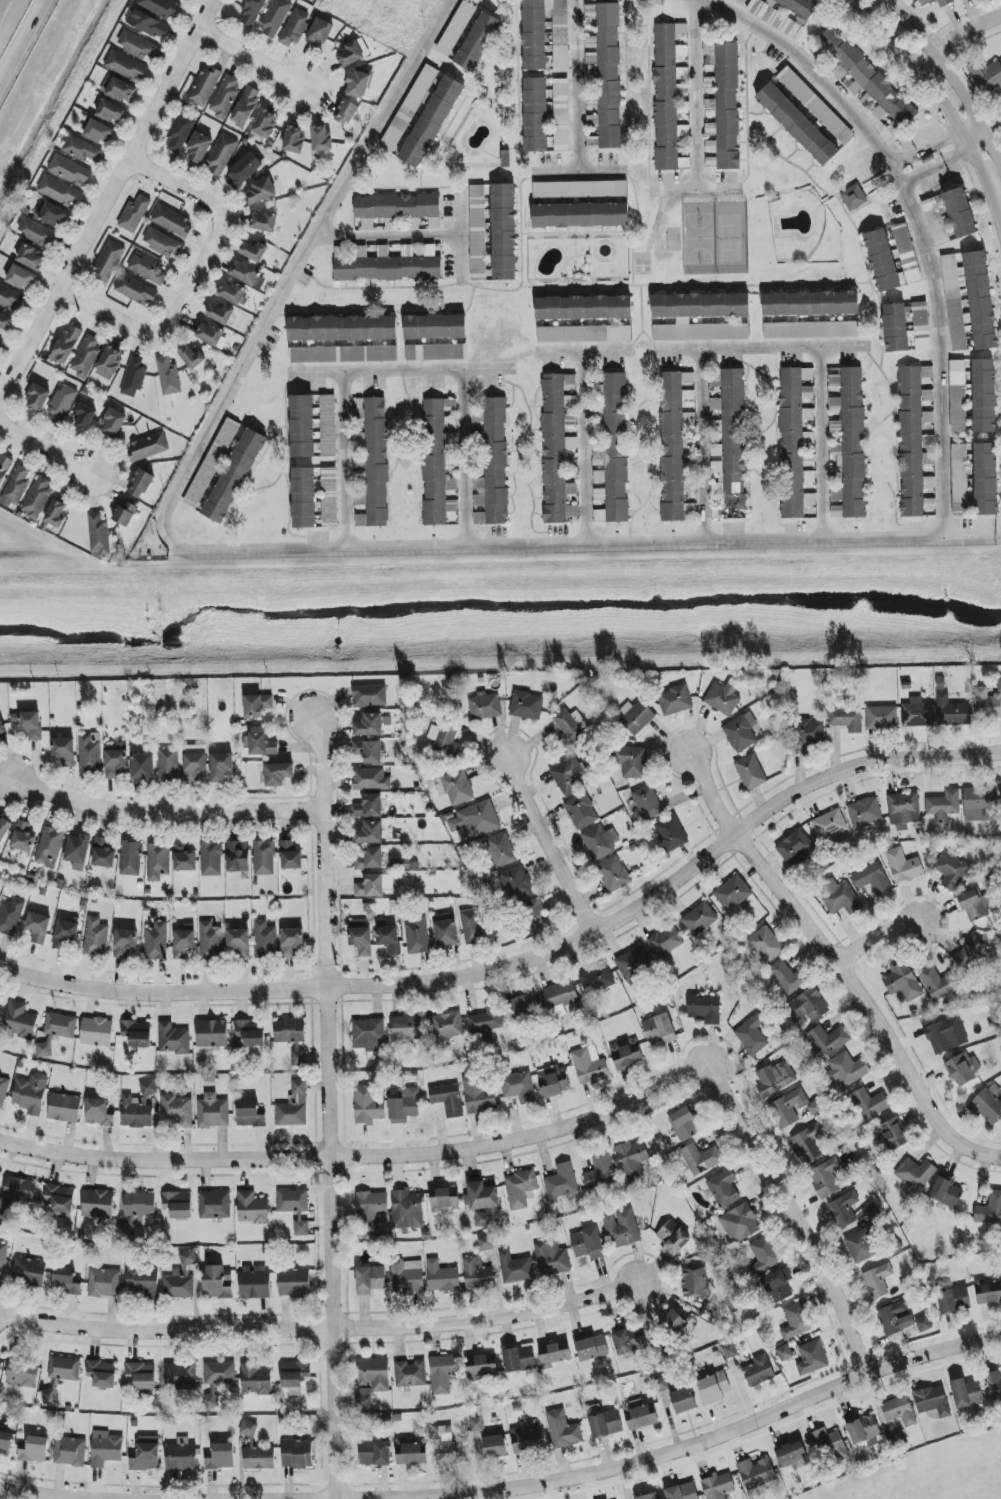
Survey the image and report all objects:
building: (923, 5)
building: (161, 8)
building: (252, 12)
building: (769, 16)
building: (275, 17)
road: (9, 18)
building: (148, 24)
building: (294, 28)
building: (456, 29)
building: (319, 33)
building: (559, 33)
building: (534, 35)
road: (955, 37)
road: (22, 41)
building: (477, 41)
building: (137, 46)
building: (352, 53)
road: (251, 59)
building: (125, 67)
building: (682, 74)
building: (608, 76)
building: (986, 76)
road: (951, 77)
building: (868, 78)
building: (358, 84)
building: (204, 86)
road: (574, 87)
building: (120, 91)
building: (666, 94)
road: (693, 94)
building: (224, 97)
building: (867, 101)
building: (727, 106)
building: (816, 106)
building: (245, 107)
building: (682, 107)
road: (944, 108)
building: (111, 111)
building: (346, 113)
building: (535, 115)
building: (561, 115)
building: (421, 117)
building: (264, 124)
building: (797, 124)
building: (710, 129)
building: (98, 132)
building: (179, 133)
road: (971, 134)
building: (321, 139)
building: (294, 140)
building: (592, 142)
road: (937, 142)
building: (82, 149)
building: (198, 149)
road: (954, 153)
building: (221, 155)
building: (711, 155)
road: (902, 158)
building: (70, 171)
road: (920, 172)
building: (240, 173)
road: (575, 174)
building: (580, 189)
road: (698, 190)
building: (59, 192)
building: (260, 192)
building: (854, 198)
road: (106, 201)
road: (204, 202)
building: (397, 209)
building: (960, 213)
building: (54, 215)
building: (134, 215)
building: (580, 215)
building: (935, 220)
building: (172, 221)
building: (263, 221)
road: (915, 223)
building: (390, 224)
building: (477, 231)
building: (504, 232)
building: (37, 233)
road: (458, 236)
road: (385, 237)
building: (162, 243)
building: (253, 252)
building: (906, 254)
building: (31, 257)
building: (882, 260)
building: (108, 261)
building: (385, 264)
building: (148, 269)
building: (245, 272)
building: (21, 277)
building: (135, 291)
building: (232, 292)
building: (11, 299)
building: (969, 300)
building: (810, 303)
building: (584, 308)
building: (220, 314)
building: (700, 316)
building: (5, 322)
building: (921, 326)
building: (435, 327)
building: (896, 327)
building: (342, 328)
building: (810, 330)
road: (135, 331)
building: (210, 334)
building: (584, 334)
building: (1, 340)
building: (66, 345)
road: (753, 348)
road: (582, 349)
building: (434, 352)
building: (343, 354)
building: (86, 356)
building: (191, 357)
building: (110, 360)
road: (399, 370)
building: (926, 372)
building: (133, 377)
building: (168, 377)
building: (834, 381)
building: (808, 392)
building: (957, 396)
building: (984, 396)
building: (37, 398)
building: (834, 403)
building: (61, 405)
building: (450, 405)
building: (84, 418)
building: (113, 423)
building: (328, 425)
building: (302, 426)
building: (730, 440)
building: (673, 443)
building: (793, 443)
building: (853, 443)
road: (820, 444)
road: (700, 446)
building: (912, 446)
building: (147, 447)
road: (46, 448)
road: (582, 448)
building: (557, 450)
building: (614, 453)
road: (464, 459)
road: (342, 461)
building: (434, 462)
building: (211, 463)
building: (371, 463)
building: (492, 463)
building: (4, 468)
building: (234, 476)
building: (959, 478)
building: (985, 479)
building: (141, 484)
building: (451, 484)
building: (16, 487)
building: (329, 497)
building: (37, 498)
building: (303, 498)
building: (836, 503)
building: (452, 506)
building: (125, 513)
building: (56, 514)
building: (726, 514)
building: (98, 536)
road: (998, 537)
road: (270, 552)
building: (999, 685)
building: (369, 696)
building: (722, 700)
building: (675, 701)
building: (986, 704)
building: (257, 705)
building: (484, 706)
building: (526, 706)
building: (951, 712)
building: (916, 714)
building: (636, 717)
building: (846, 717)
building: (881, 718)
building: (31, 725)
building: (369, 725)
building: (570, 726)
building: (2, 727)
building: (808, 732)
building: (739, 734)
building: (445, 737)
building: (262, 743)
building: (64, 751)
building: (368, 751)
building: (90, 754)
building: (631, 761)
building: (115, 762)
building: (194, 762)
building: (168, 766)
building: (221, 767)
building: (143, 768)
building: (750, 772)
building: (278, 774)
building: (568, 776)
building: (370, 780)
building: (455, 788)
building: (648, 803)
building: (980, 805)
building: (943, 806)
building: (369, 807)
building: (903, 810)
road: (162, 811)
building: (581, 811)
building: (864, 812)
building: (478, 820)
building: (829, 825)
building: (4, 829)
building: (370, 833)
building: (670, 834)
building: (23, 837)
building: (599, 841)
road: (549, 842)
building: (49, 847)
building: (795, 847)
building: (77, 849)
building: (500, 850)
building: (103, 854)
building: (238, 857)
building: (290, 857)
building: (184, 858)
building: (264, 858)
building: (131, 859)
building: (211, 859)
building: (370, 860)
building: (158, 861)
building: (403, 865)
building: (903, 866)
building: (951, 871)
building: (613, 874)
building: (872, 879)
building: (516, 883)
building: (374, 886)
building: (732, 893)
building: (840, 897)
building: (972, 905)
building: (534, 915)
building: (11, 916)
building: (700, 919)
building: (472, 926)
building: (38, 928)
building: (445, 931)
building: (66, 935)
building: (417, 936)
building: (360, 937)
road: (875, 937)
building: (95, 938)
building: (389, 939)
building: (210, 940)
building: (265, 940)
building: (291, 941)
building: (156, 942)
building: (184, 942)
building: (239, 942)
building: (665, 942)
building: (124, 943)
road: (818, 944)
building: (765, 945)
building: (969, 957)
building: (632, 962)
road: (526, 963)
building: (784, 977)
building: (597, 980)
building: (902, 982)
building: (939, 984)
building: (0, 998)
building: (559, 999)
building: (806, 1007)
building: (705, 1008)
building: (523, 1009)
building: (19, 1021)
building: (485, 1023)
building: (446, 1026)
building: (406, 1028)
building: (659, 1029)
building: (56, 1032)
building: (96, 1032)
building: (137, 1034)
building: (212, 1034)
building: (249, 1035)
building: (368, 1035)
building: (946, 1035)
building: (752, 1036)
building: (292, 1038)
building: (173, 1039)
building: (828, 1040)
building: (626, 1055)
building: (589, 1065)
building: (962, 1068)
building: (846, 1069)
building: (775, 1079)
building: (553, 1082)
building: (518, 1087)
building: (3, 1090)
building: (30, 1094)
building: (478, 1096)
building: (448, 1099)
building: (870, 1103)
building: (294, 1106)
building: (368, 1106)
building: (404, 1106)
building: (986, 1106)
road: (327, 1107)
building: (64, 1108)
building: (138, 1108)
building: (788, 1108)
building: (177, 1110)
building: (212, 1112)
building: (98, 1113)
building: (249, 1115)
building: (684, 1124)
building: (892, 1134)
building: (808, 1144)
road: (974, 1151)
road: (329, 1158)
building: (701, 1159)
building: (632, 1160)
building: (600, 1171)
building: (915, 1174)
building: (825, 1178)
building: (561, 1182)
road: (779, 1188)
building: (519, 1189)
building: (723, 1189)
building: (946, 1192)
building: (15, 1194)
building: (444, 1199)
building: (58, 1202)
building: (97, 1204)
building: (178, 1204)
building: (484, 1204)
building: (139, 1205)
building: (214, 1205)
building: (371, 1205)
building: (252, 1208)
building: (295, 1208)
building: (407, 1210)
building: (843, 1210)
building: (989, 1210)
building: (740, 1223)
building: (622, 1229)
building: (127, 1230)
building: (667, 1231)
building: (486, 1244)
building: (587, 1244)
building: (676, 1244)
building: (860, 1247)
building: (764, 1255)
building: (3, 1256)
building: (552, 1259)
building: (515, 1268)
building: (29, 1272)
building: (477, 1274)
building: (407, 1277)
building: (442, 1277)
building: (181, 1279)
building: (370, 1280)
building: (65, 1281)
building: (143, 1281)
building: (255, 1281)
building: (877, 1281)
building: (218, 1282)
building: (294, 1282)
building: (104, 1283)
building: (695, 1283)
building: (778, 1285)
building: (989, 1293)
building: (954, 1300)
building: (895, 1318)
building: (796, 1320)
building: (674, 1323)
building: (924, 1324)
road: (319, 1329)
building: (628, 1342)
building: (591, 1346)
building: (730, 1351)
building: (784, 1353)
building: (553, 1354)
building: (812, 1358)
building: (519, 1359)
building: (64, 1369)
building: (482, 1370)
building: (758, 1371)
building: (22, 1373)
building: (219, 1373)
building: (443, 1373)
building: (102, 1374)
building: (411, 1374)
building: (141, 1375)
building: (373, 1375)
building: (180, 1376)
building: (295, 1376)
building: (255, 1379)
building: (661, 1385)
building: (994, 1385)
building: (713, 1388)
building: (966, 1393)
building: (49, 1396)
building: (364, 1399)
building: (683, 1401)
building: (932, 1401)
building: (209, 1402)
building: (899, 1411)
building: (641, 1416)
building: (476, 1425)
building: (248, 1429)
building: (862, 1429)
building: (562, 1430)
building: (527, 1442)
building: (5, 1444)
building: (829, 1444)
building: (447, 1446)
building: (494, 1446)
building: (34, 1450)
building: (106, 1451)
building: (70, 1452)
building: (146, 1454)
building: (297, 1454)
building: (375, 1454)
building: (411, 1454)
building: (791, 1454)
building: (181, 1455)
building: (221, 1457)
building: (259, 1458)
road: (655, 1459)
building: (756, 1473)
building: (718, 1486)
building: (682, 1492)
road: (49, 1495)
building: (647, 1497)

